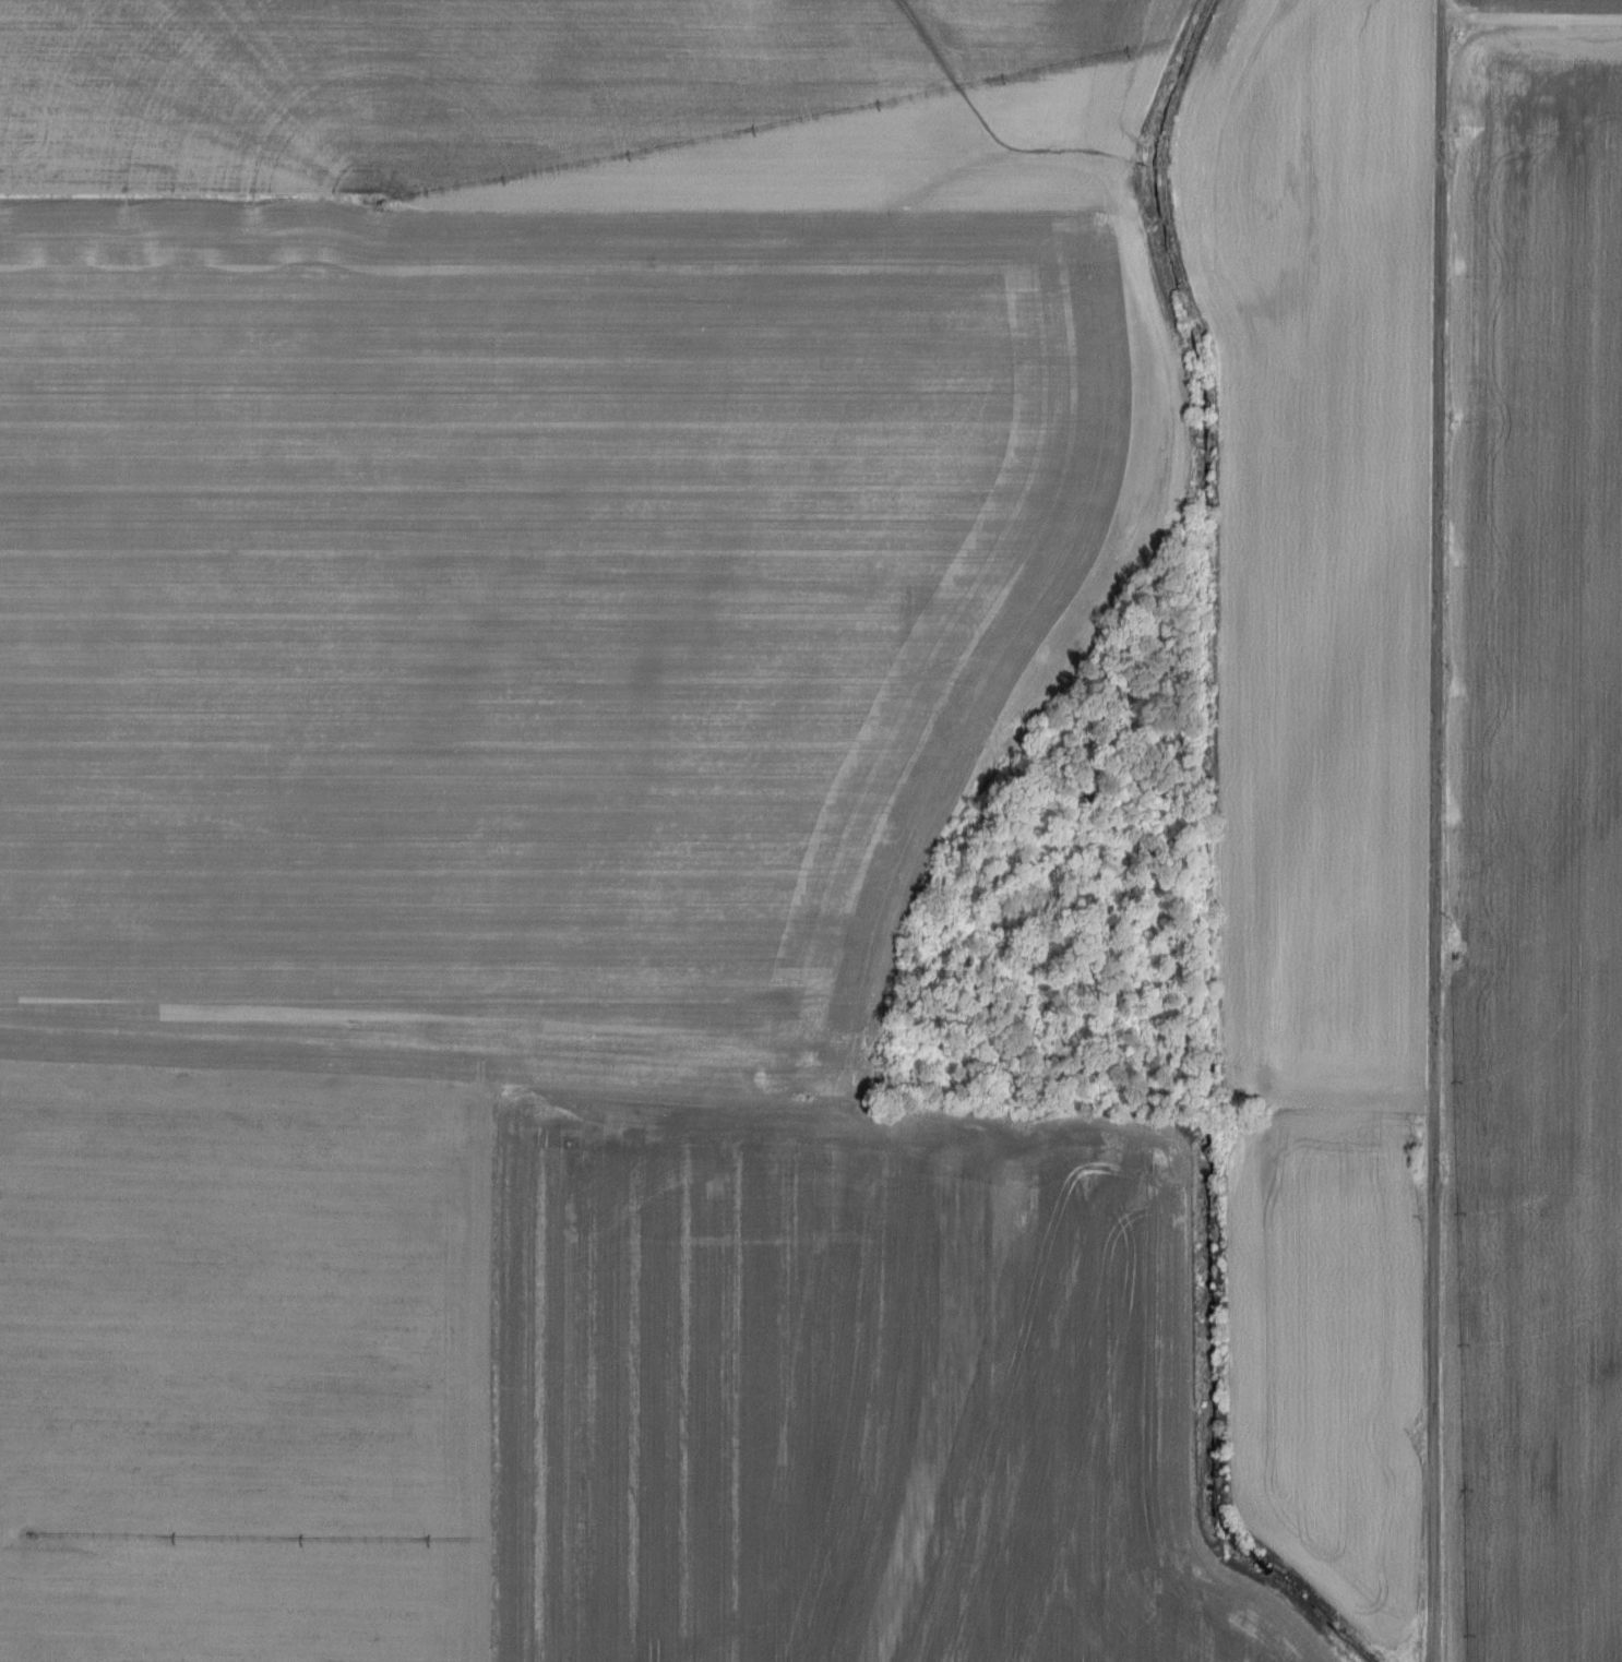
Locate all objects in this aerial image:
road: (1530, 21)
road: (1434, 830)

